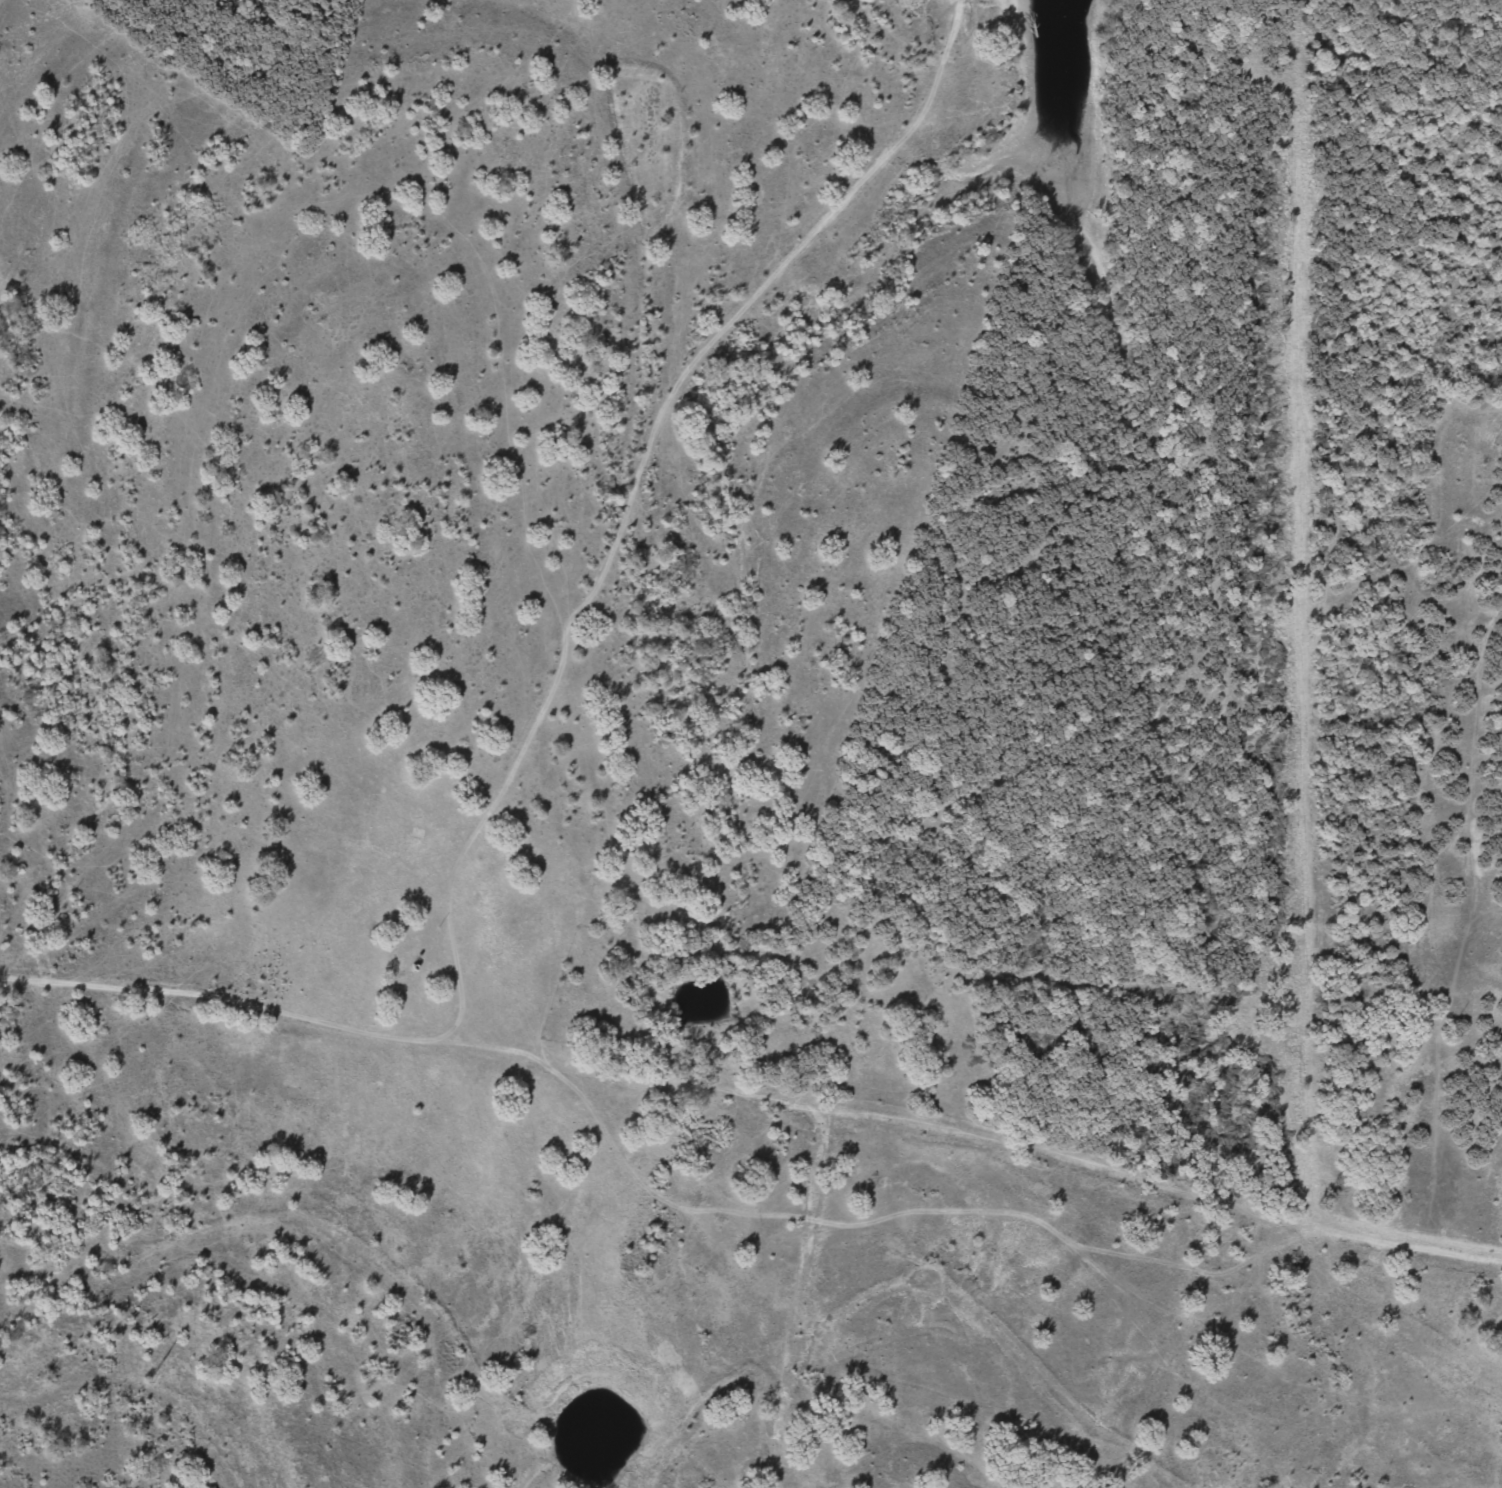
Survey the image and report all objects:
road: (645, 479)
road: (230, 1047)
power tower: (149, 1377)

